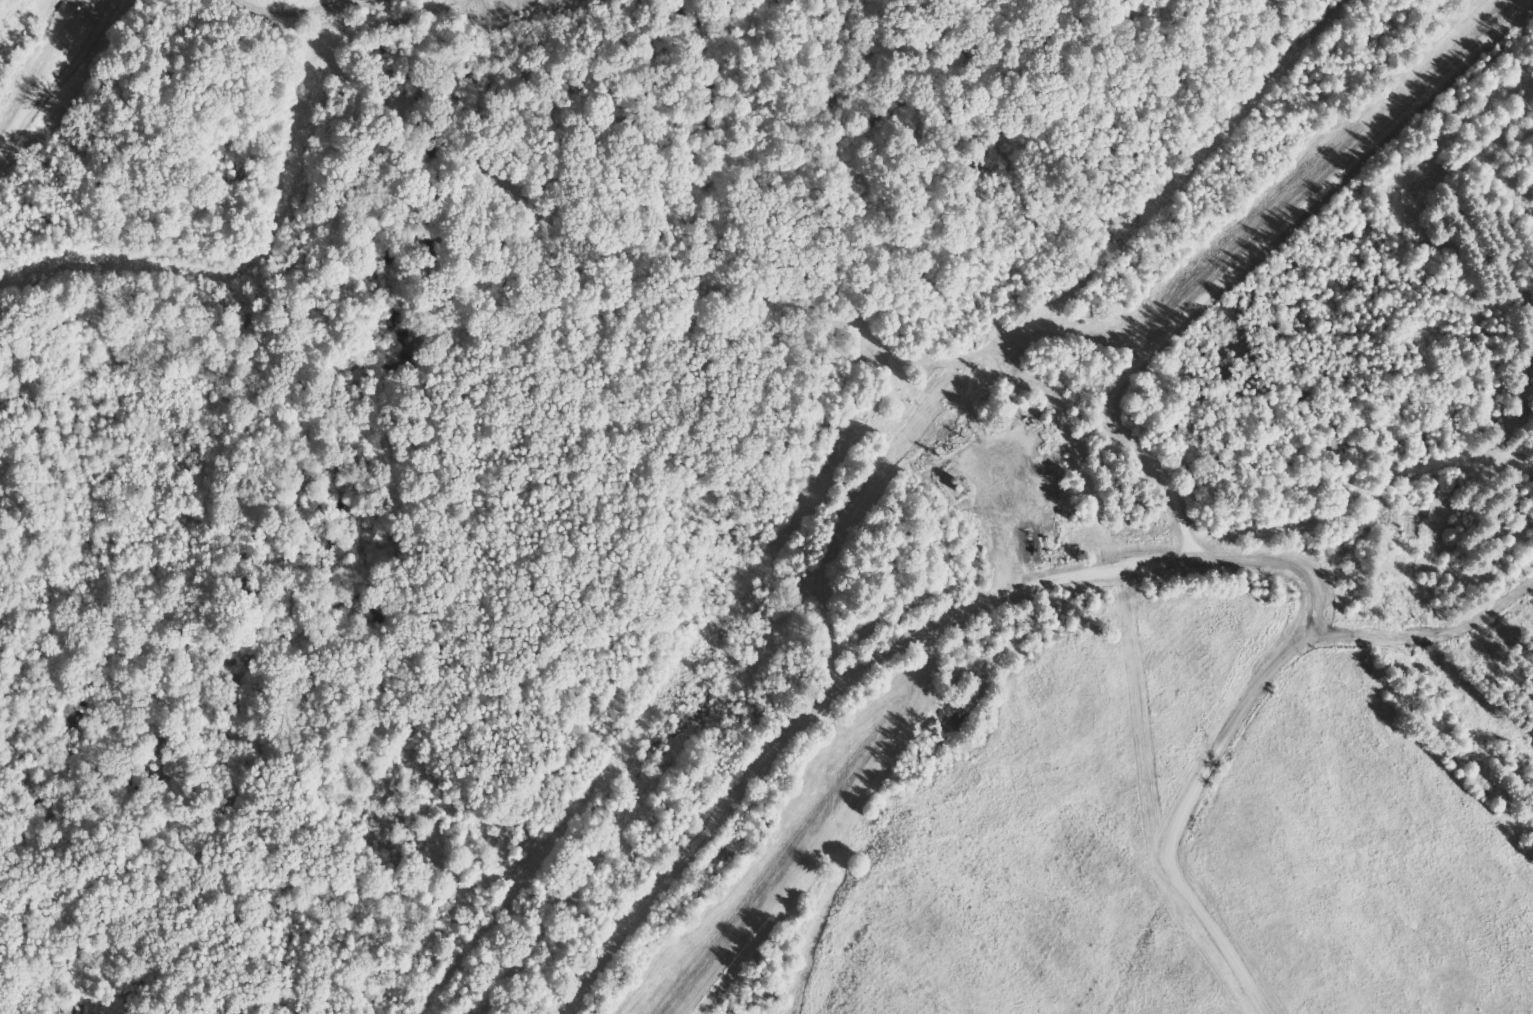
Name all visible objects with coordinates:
road: (1241, 715)

